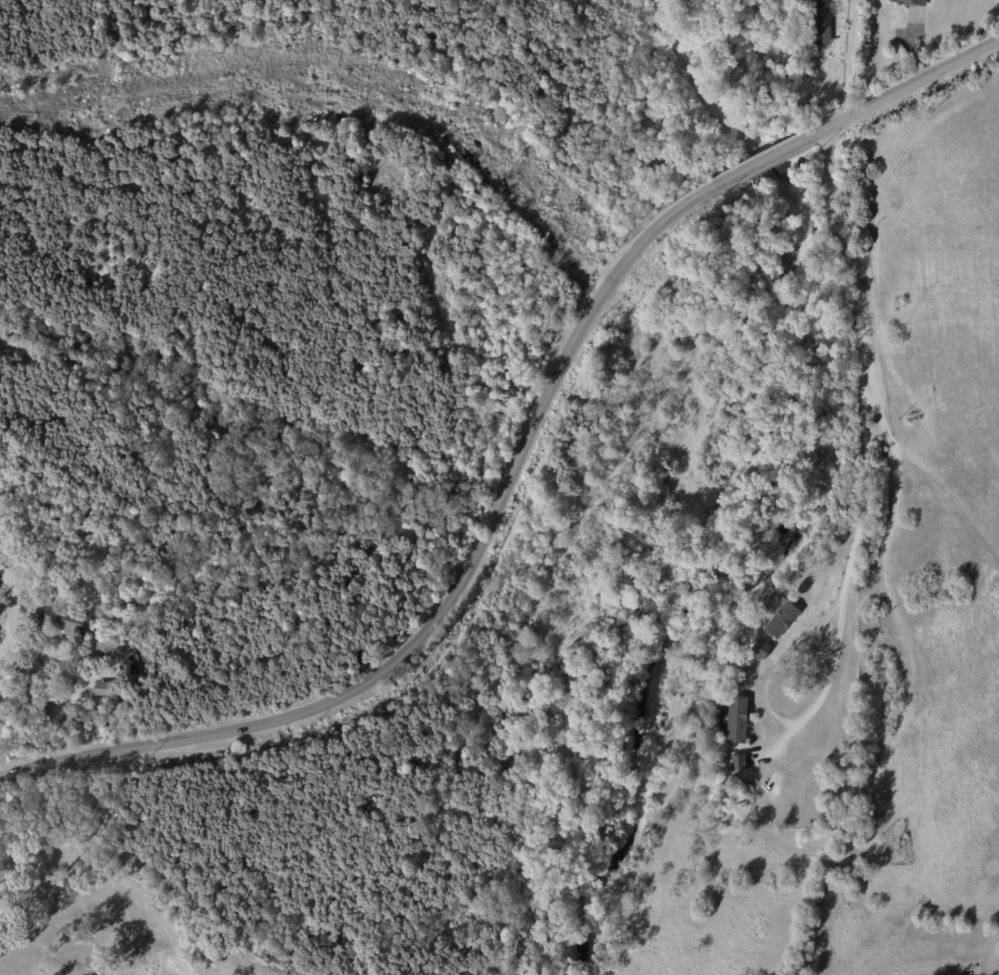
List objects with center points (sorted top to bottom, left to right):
building: (916, 2)
building: (820, 5)
building: (822, 29)
road: (849, 61)
road: (900, 90)
road: (339, 103)
road: (767, 161)
road: (868, 447)
road: (454, 591)
road: (13, 612)
building: (785, 620)
building: (68, 622)
building: (764, 650)
building: (107, 655)
building: (114, 689)
building: (738, 720)
building: (741, 763)

